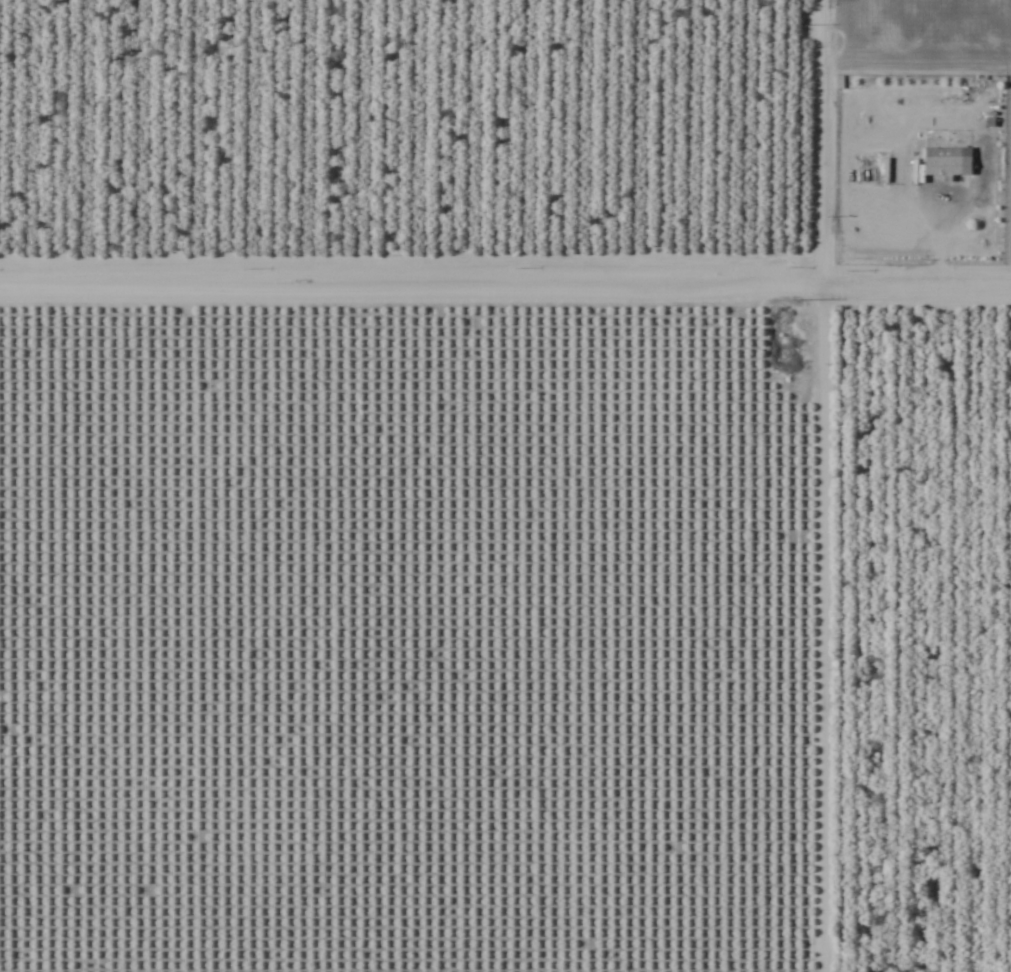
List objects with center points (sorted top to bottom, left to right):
road: (505, 283)
road: (816, 485)

